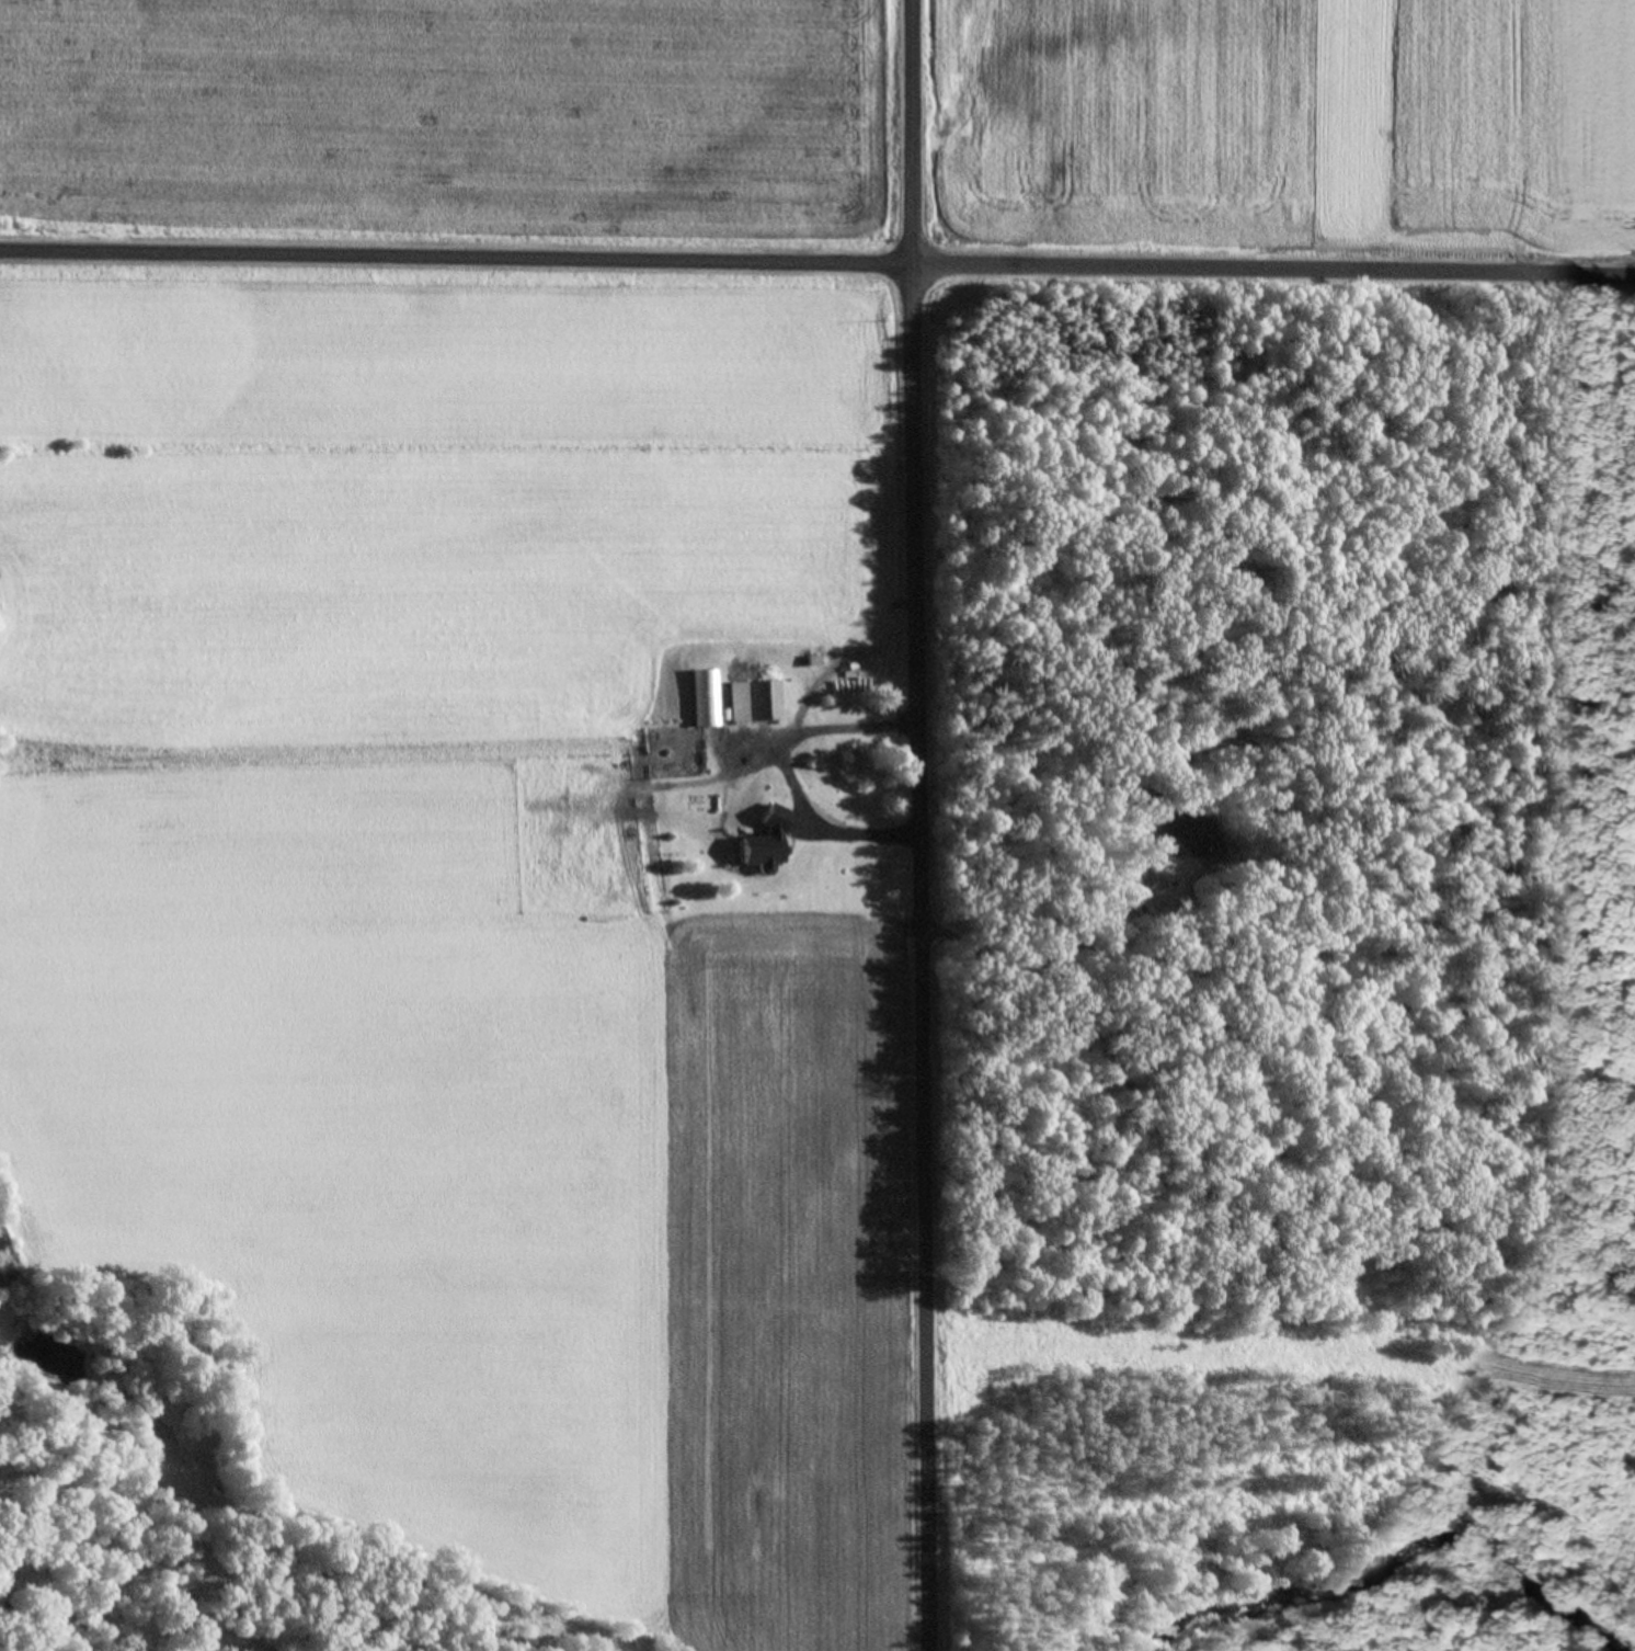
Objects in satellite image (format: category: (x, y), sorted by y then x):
road: (816, 266)
building: (706, 697)
building: (753, 702)
road: (780, 766)
road: (913, 825)
building: (1191, 834)
building: (765, 843)

